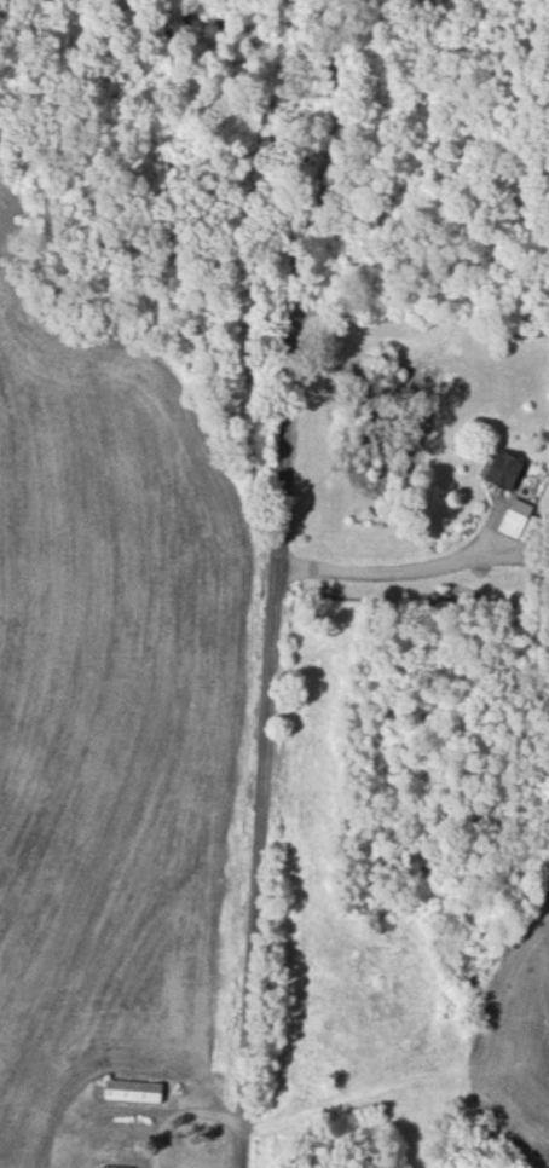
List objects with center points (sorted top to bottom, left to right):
building: (505, 469)
building: (515, 516)
road: (386, 572)
road: (278, 583)
crop: (115, 706)
crop: (515, 1023)
building: (133, 1089)
building: (115, 1166)

